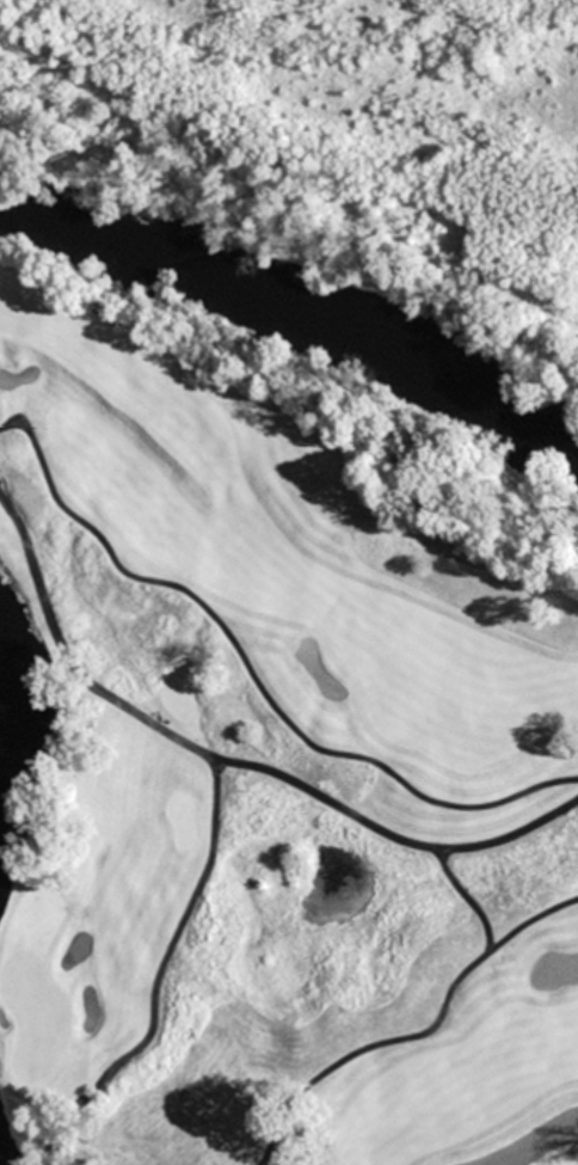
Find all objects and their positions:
park: (18, 311)
river: (285, 326)
park: (289, 582)
road: (246, 683)
park: (180, 691)
road: (210, 811)
road: (385, 838)
park: (36, 920)
road: (527, 920)
park: (33, 1016)
park: (4, 1020)
road: (420, 1036)
road: (252, 1164)

